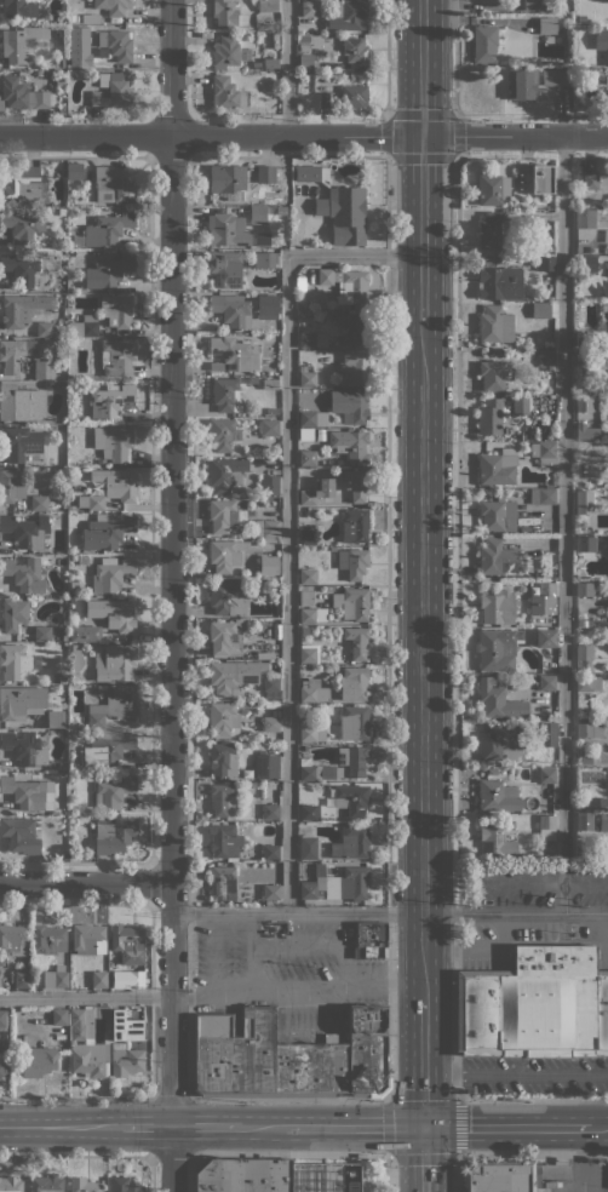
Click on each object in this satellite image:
building: (326, 1)
building: (530, 5)
building: (113, 6)
building: (268, 6)
building: (19, 8)
building: (309, 8)
building: (228, 13)
building: (348, 15)
building: (71, 18)
building: (87, 18)
building: (581, 18)
building: (547, 25)
building: (602, 41)
building: (21, 42)
building: (484, 42)
building: (116, 44)
building: (225, 52)
building: (355, 53)
road: (386, 58)
building: (305, 61)
building: (270, 63)
road: (421, 67)
road: (288, 68)
building: (557, 76)
building: (320, 85)
building: (523, 85)
building: (111, 91)
building: (226, 92)
building: (22, 93)
building: (354, 96)
building: (604, 98)
building: (325, 99)
building: (63, 109)
road: (455, 115)
road: (304, 134)
traffic signals: (421, 134)
building: (74, 171)
building: (269, 173)
building: (310, 173)
building: (537, 179)
building: (228, 180)
building: (591, 180)
building: (113, 185)
building: (24, 187)
building: (493, 189)
building: (283, 193)
building: (281, 210)
building: (62, 211)
building: (70, 211)
building: (257, 214)
building: (348, 214)
building: (585, 218)
building: (21, 227)
building: (108, 228)
building: (226, 229)
road: (421, 230)
building: (489, 231)
building: (604, 235)
building: (263, 240)
building: (264, 259)
building: (546, 263)
building: (586, 264)
building: (19, 268)
building: (225, 269)
building: (108, 271)
building: (300, 277)
building: (346, 283)
building: (499, 283)
building: (606, 290)
building: (268, 306)
building: (23, 309)
building: (116, 309)
building: (231, 309)
building: (541, 310)
building: (309, 311)
building: (495, 325)
building: (84, 326)
building: (350, 327)
building: (45, 328)
building: (312, 339)
building: (587, 339)
building: (15, 354)
building: (234, 354)
building: (117, 357)
building: (600, 357)
building: (546, 359)
building: (354, 368)
building: (44, 369)
building: (579, 369)
building: (491, 376)
building: (306, 377)
building: (253, 379)
building: (270, 384)
building: (578, 385)
building: (226, 395)
building: (110, 400)
building: (21, 402)
building: (506, 403)
building: (585, 403)
building: (350, 405)
building: (521, 405)
building: (271, 411)
building: (489, 417)
building: (71, 418)
building: (312, 418)
building: (269, 428)
building: (586, 431)
building: (223, 434)
building: (305, 435)
building: (113, 442)
building: (22, 443)
building: (350, 443)
building: (544, 452)
building: (308, 458)
building: (102, 463)
building: (498, 466)
building: (225, 474)
building: (114, 483)
building: (12, 485)
building: (269, 485)
building: (355, 485)
building: (549, 486)
building: (543, 495)
building: (308, 497)
building: (90, 502)
building: (584, 502)
building: (39, 503)
building: (498, 515)
building: (224, 516)
road: (288, 517)
road: (563, 523)
building: (584, 525)
building: (354, 526)
building: (266, 528)
building: (25, 531)
building: (107, 531)
building: (308, 537)
building: (583, 543)
building: (225, 554)
building: (495, 558)
building: (352, 562)
building: (268, 565)
building: (550, 565)
building: (23, 574)
building: (110, 574)
building: (308, 575)
building: (540, 588)
building: (584, 589)
building: (87, 592)
road: (172, 596)
building: (305, 596)
building: (226, 597)
building: (355, 603)
building: (498, 607)
building: (535, 611)
building: (13, 614)
building: (311, 614)
building: (119, 615)
building: (580, 623)
building: (590, 623)
building: (601, 624)
building: (42, 634)
building: (88, 634)
building: (225, 637)
building: (545, 637)
building: (356, 641)
building: (495, 648)
building: (584, 652)
building: (308, 654)
building: (17, 661)
building: (76, 661)
building: (114, 661)
road: (423, 663)
building: (234, 675)
building: (61, 677)
building: (546, 682)
building: (270, 683)
building: (352, 683)
building: (587, 683)
building: (101, 688)
building: (312, 690)
building: (19, 700)
building: (498, 700)
road: (457, 701)
building: (114, 706)
building: (223, 718)
building: (55, 720)
building: (271, 722)
building: (354, 722)
road: (389, 724)
building: (529, 726)
building: (587, 729)
building: (310, 730)
building: (546, 734)
building: (500, 741)
building: (107, 746)
building: (24, 749)
building: (222, 760)
building: (589, 760)
building: (356, 761)
building: (266, 766)
building: (319, 772)
building: (546, 778)
building: (113, 792)
building: (28, 793)
building: (498, 796)
building: (351, 798)
building: (223, 800)
building: (603, 803)
building: (553, 807)
building: (270, 810)
building: (308, 812)
building: (584, 823)
building: (603, 823)
building: (546, 827)
building: (19, 835)
building: (116, 836)
building: (224, 841)
building: (351, 842)
building: (495, 842)
building: (308, 847)
building: (270, 852)
building: (220, 881)
road: (86, 883)
building: (346, 883)
building: (308, 890)
building: (270, 892)
road: (390, 912)
building: (13, 938)
building: (48, 939)
building: (88, 939)
building: (372, 940)
building: (128, 944)
road: (249, 953)
building: (0, 959)
building: (56, 978)
building: (21, 979)
building: (99, 979)
building: (136, 979)
building: (0, 981)
road: (298, 991)
road: (86, 997)
road: (189, 1005)
building: (534, 1005)
building: (59, 1016)
building: (117, 1016)
building: (1, 1018)
building: (85, 1021)
road: (151, 1047)
building: (288, 1056)
building: (88, 1060)
building: (126, 1060)
road: (423, 1062)
building: (1, 1065)
building: (38, 1065)
road: (75, 1096)
road: (171, 1096)
road: (59, 1127)
road: (147, 1127)
road: (207, 1127)
road: (596, 1127)
road: (262, 1128)
road: (352, 1128)
traffic signals: (423, 1128)
road: (504, 1128)
road: (308, 1153)
road: (75, 1154)
road: (171, 1154)
road: (514, 1154)
road: (389, 1156)
road: (586, 1157)
road: (423, 1159)
road: (151, 1173)
road: (191, 1173)
building: (243, 1175)
building: (503, 1176)
power substation: (328, 1179)
building: (46, 1182)
building: (10, 1185)
building: (84, 1185)
building: (120, 1185)
road: (569, 1187)
road: (587, 1190)

